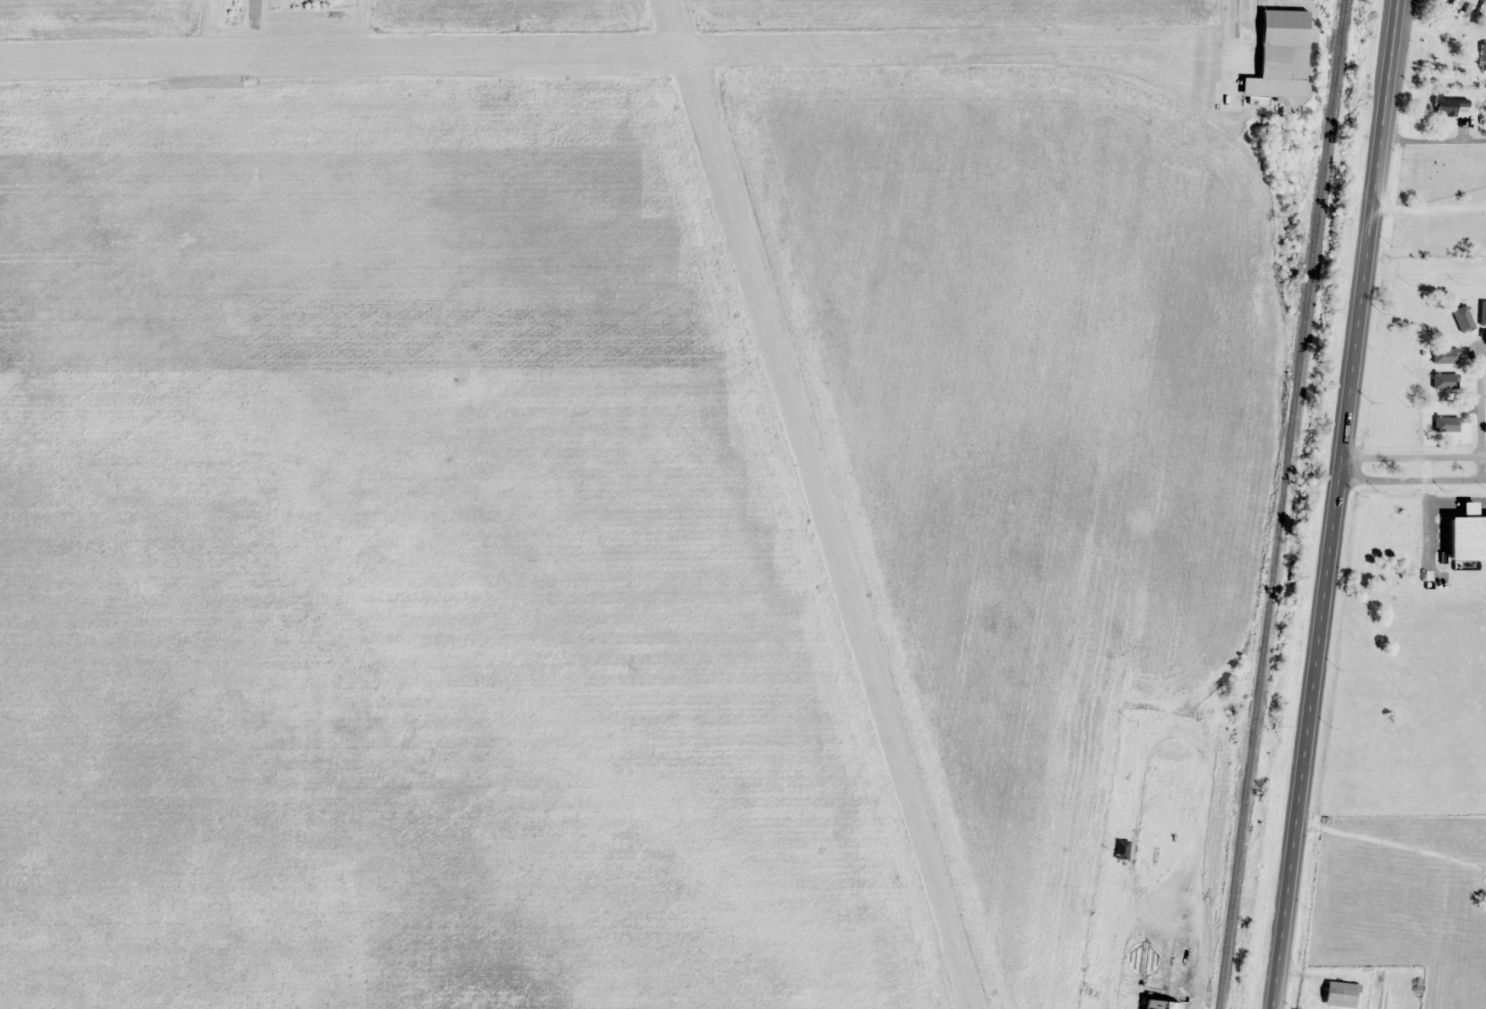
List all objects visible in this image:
building: (1478, 9)
building: (1279, 55)
building: (1482, 57)
airport runway: (585, 60)
building: (1447, 104)
road: (1428, 207)
building: (1480, 309)
building: (1457, 317)
building: (1449, 355)
building: (1438, 386)
road: (1481, 406)
building: (1450, 421)
road: (1413, 466)
airport runway: (824, 504)
railway: (1280, 504)
road: (1335, 504)
road: (1391, 843)
building: (1120, 848)
building: (1142, 956)
building: (1180, 967)
building: (1338, 993)
building: (1158, 1004)

